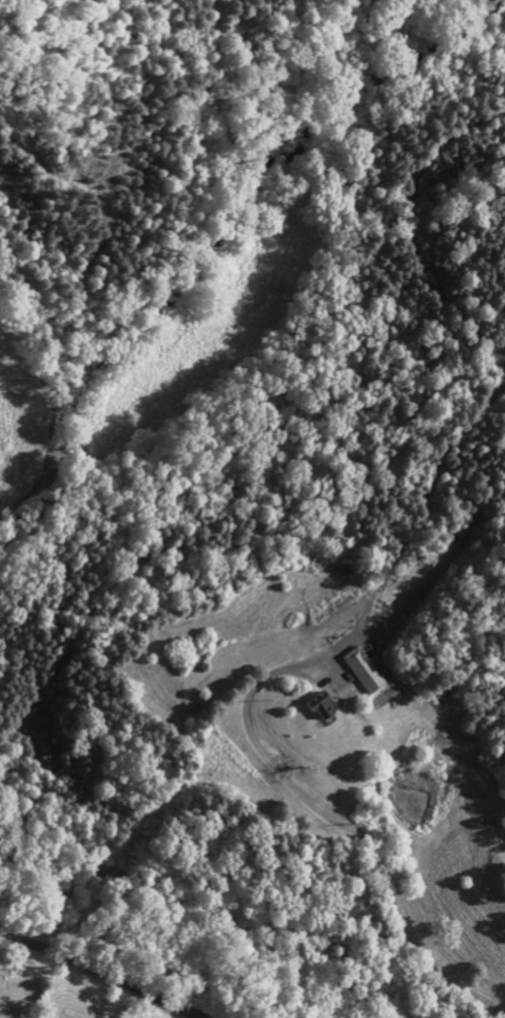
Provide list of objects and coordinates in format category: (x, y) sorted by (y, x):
building: (362, 673)
building: (320, 714)
road: (370, 842)
road: (112, 971)

